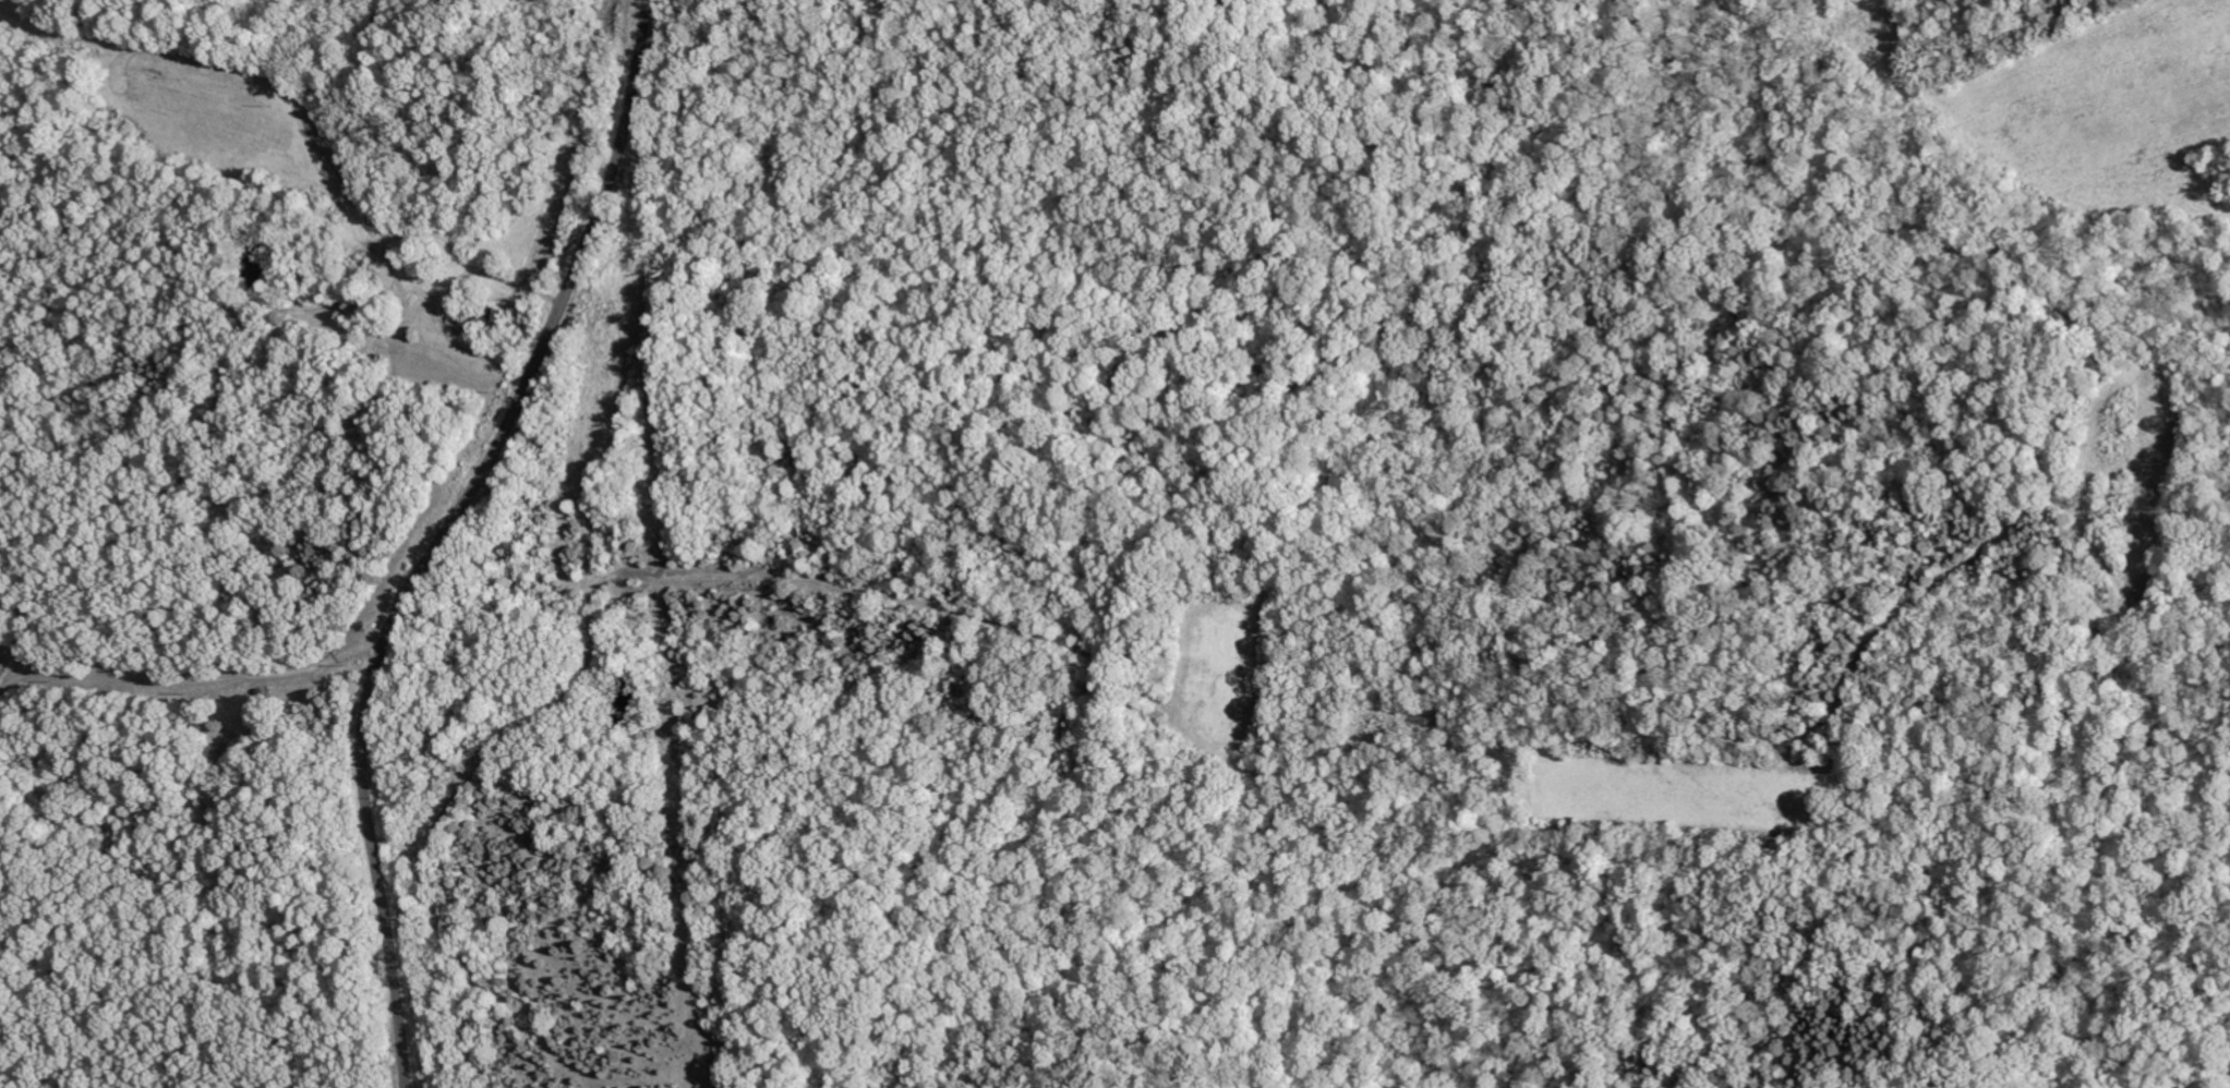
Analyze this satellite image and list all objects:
road: (446, 535)

